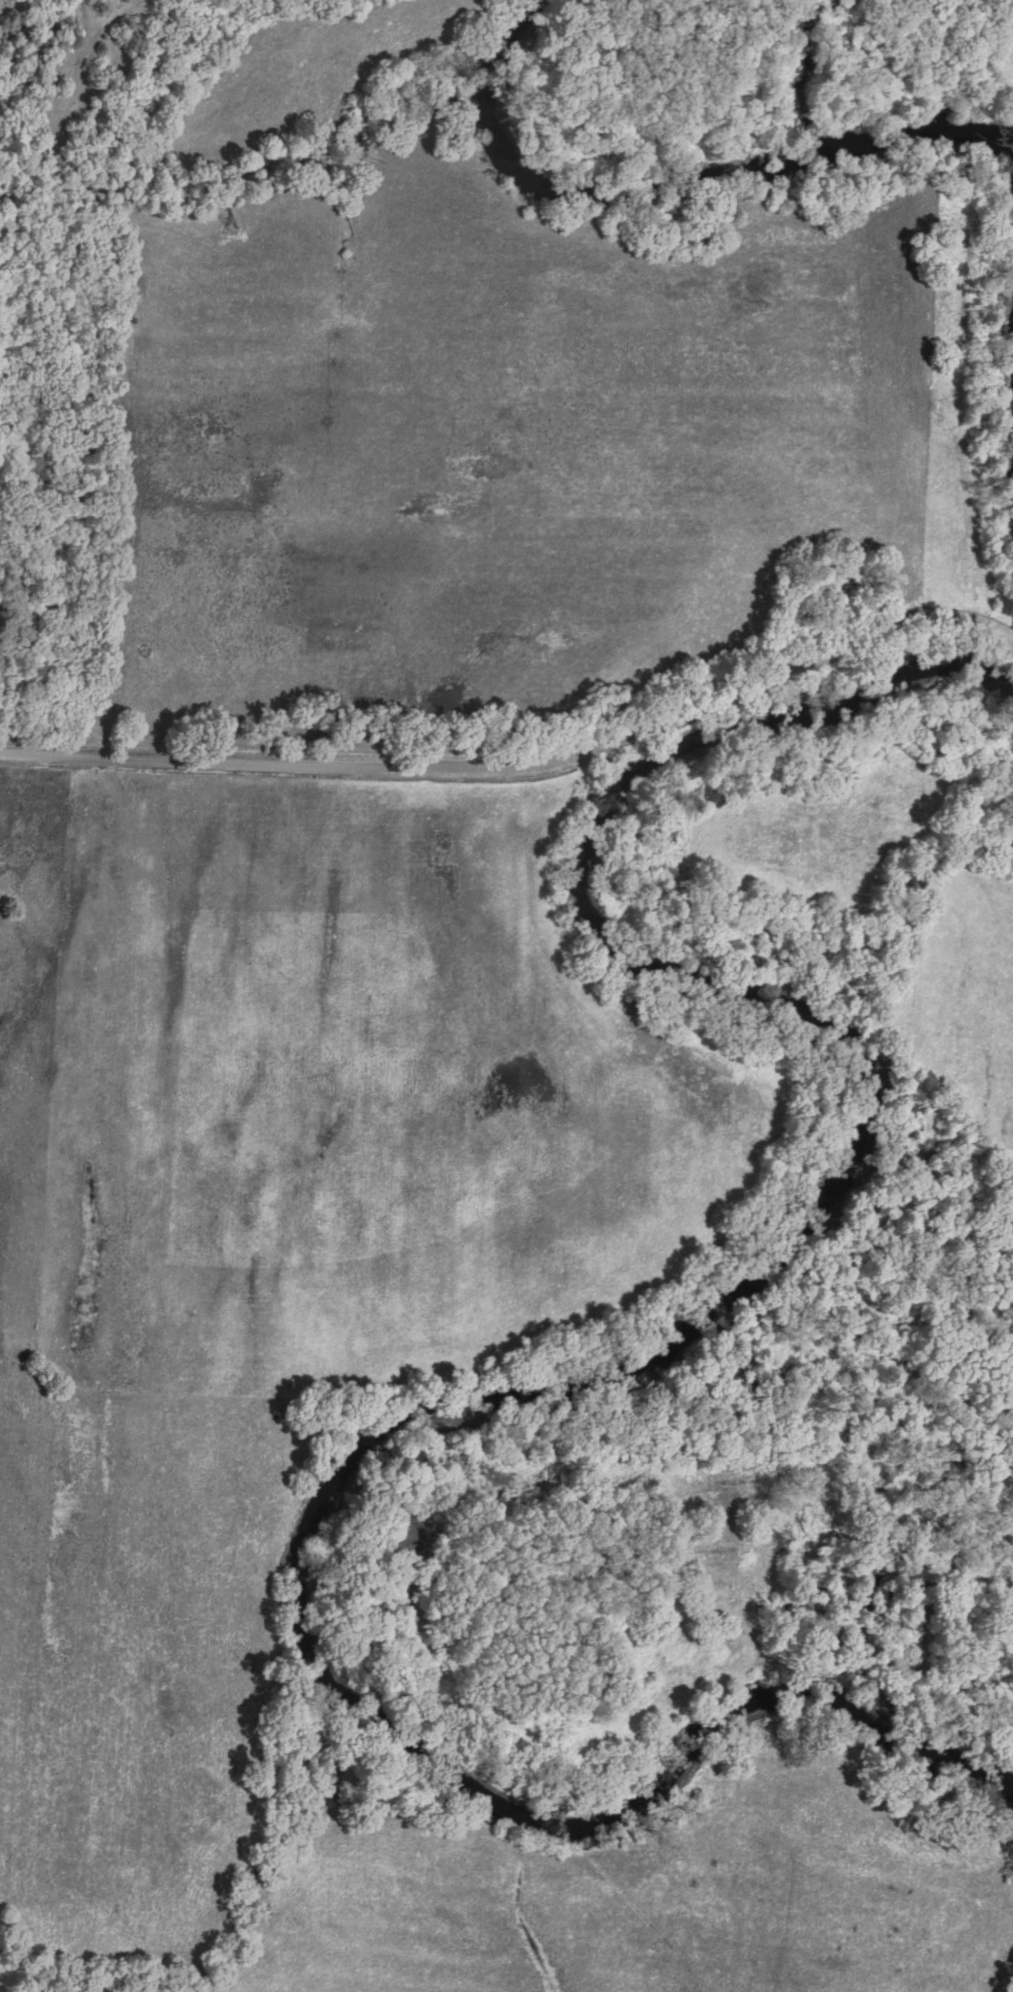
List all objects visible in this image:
road: (523, 769)

